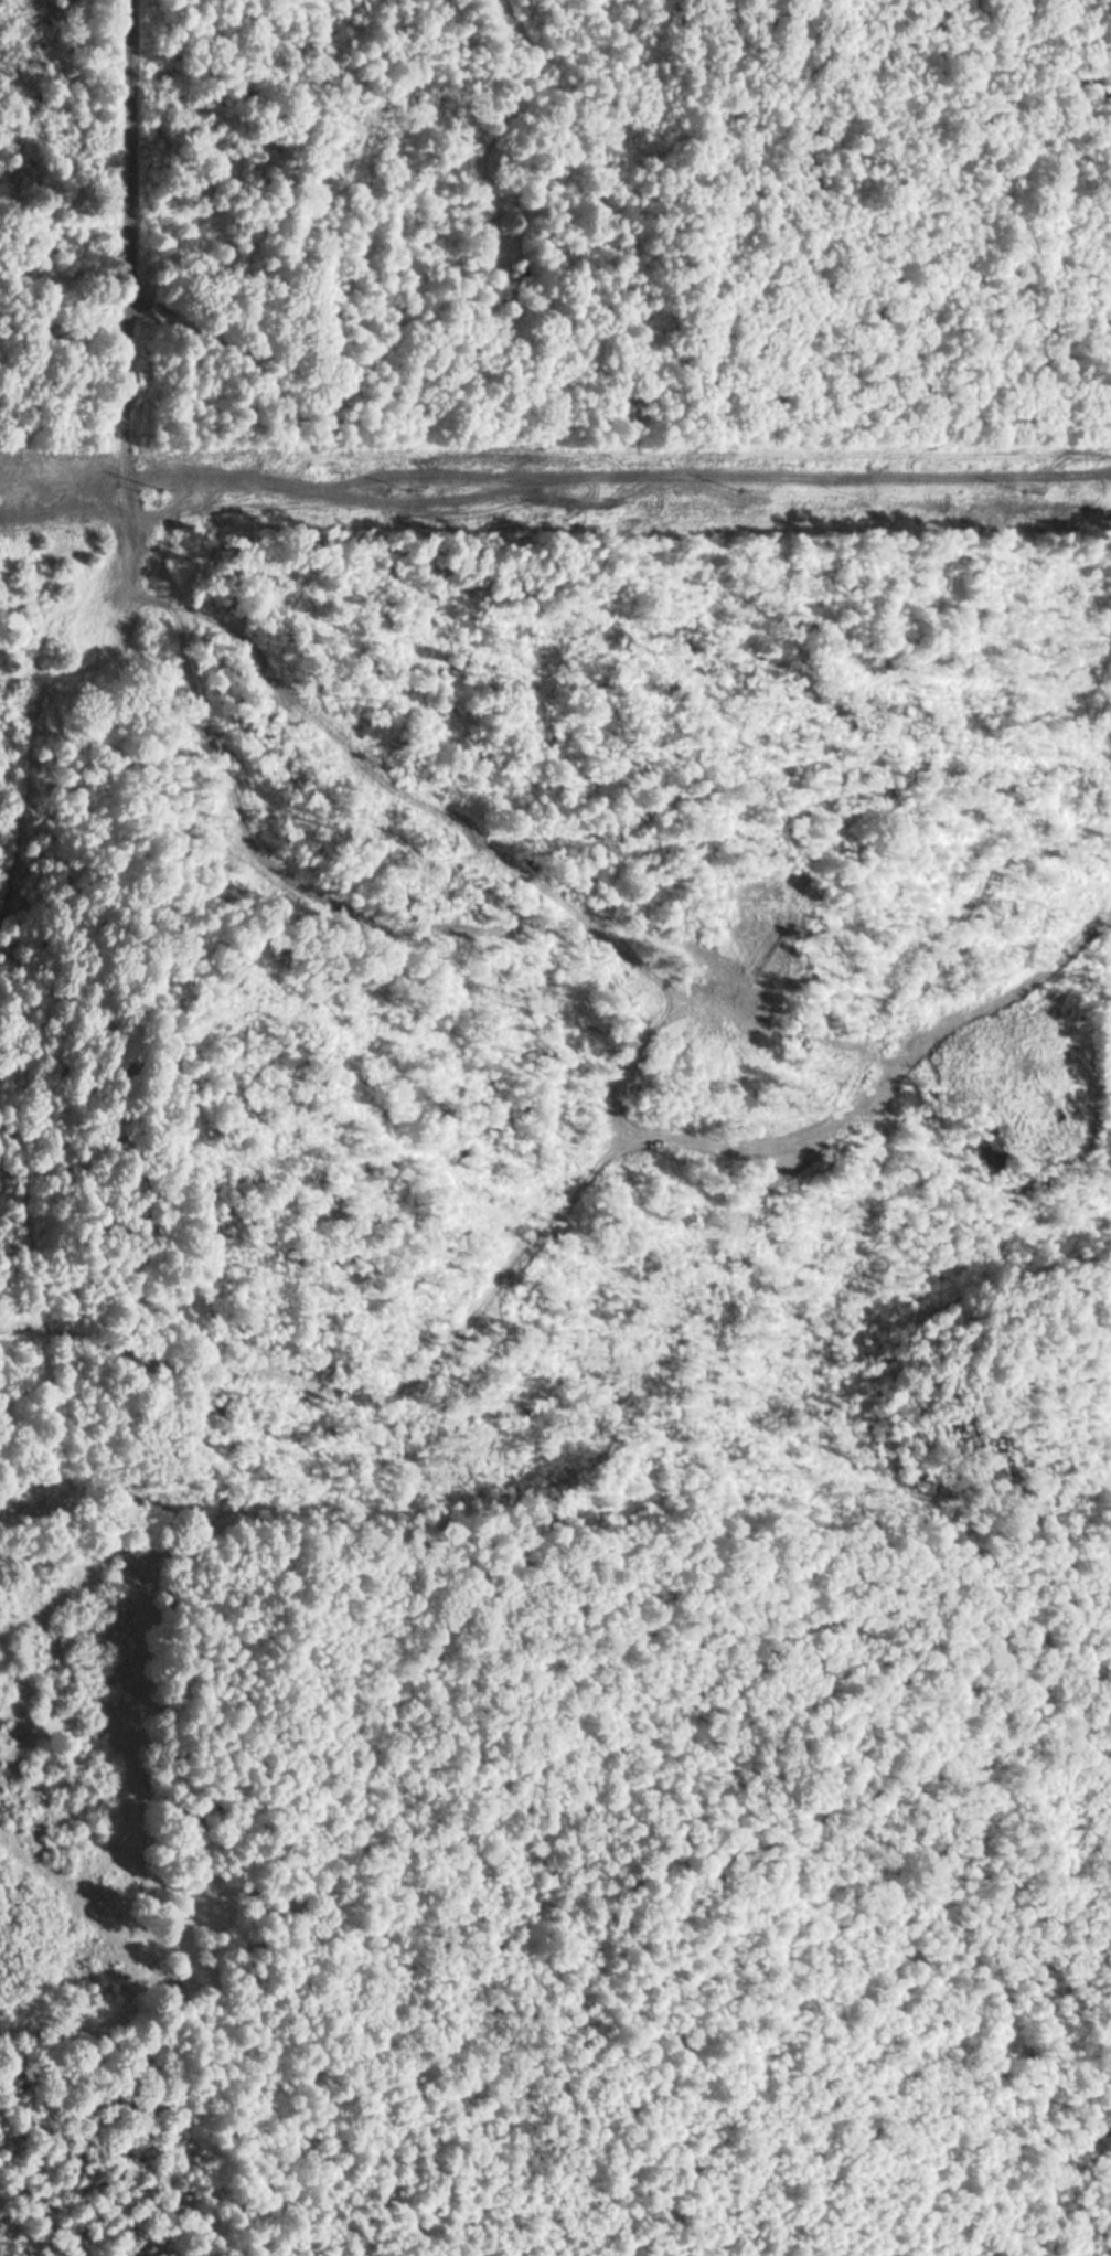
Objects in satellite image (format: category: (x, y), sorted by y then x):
road: (129, 352)

